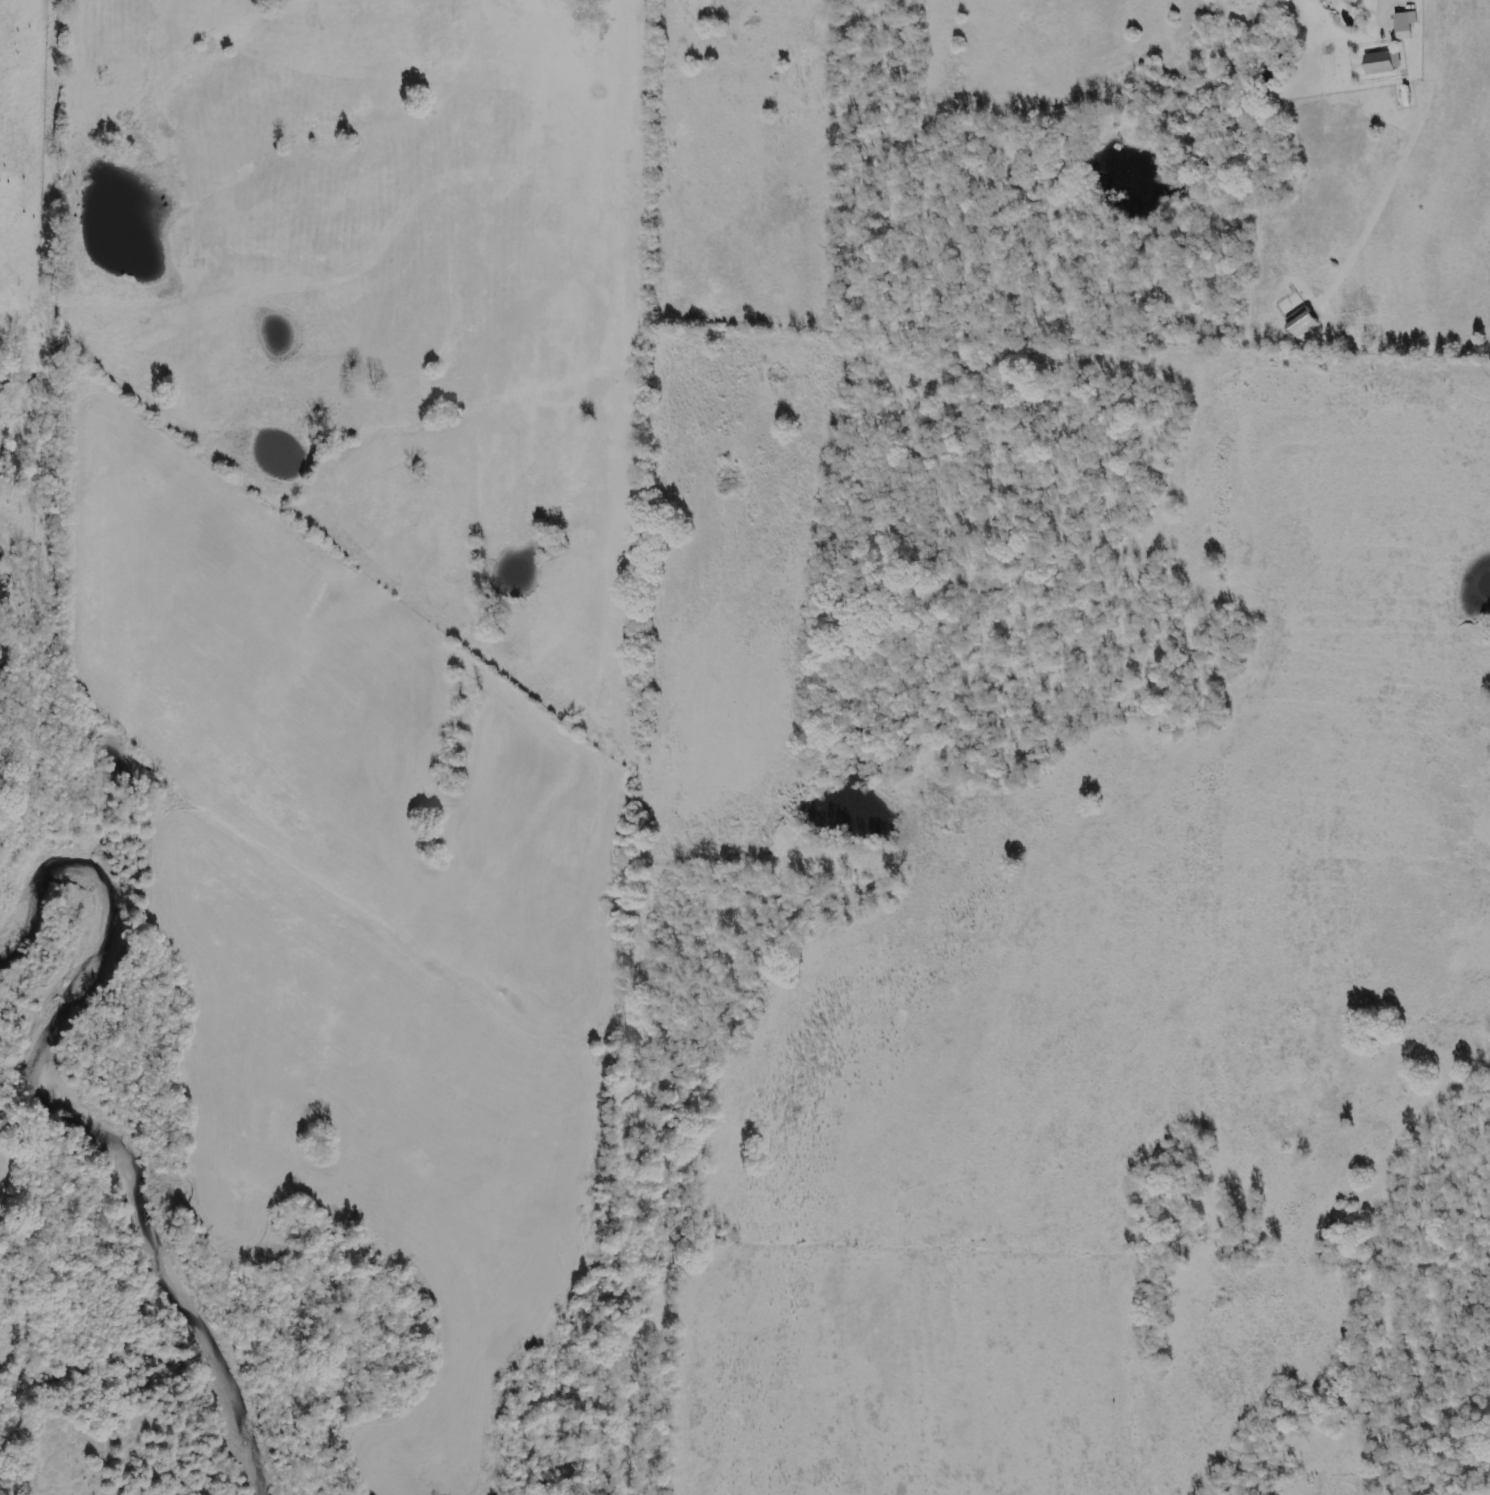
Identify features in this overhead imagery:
building: (1358, 1)
building: (1407, 24)
building: (1382, 62)
building: (1304, 321)

